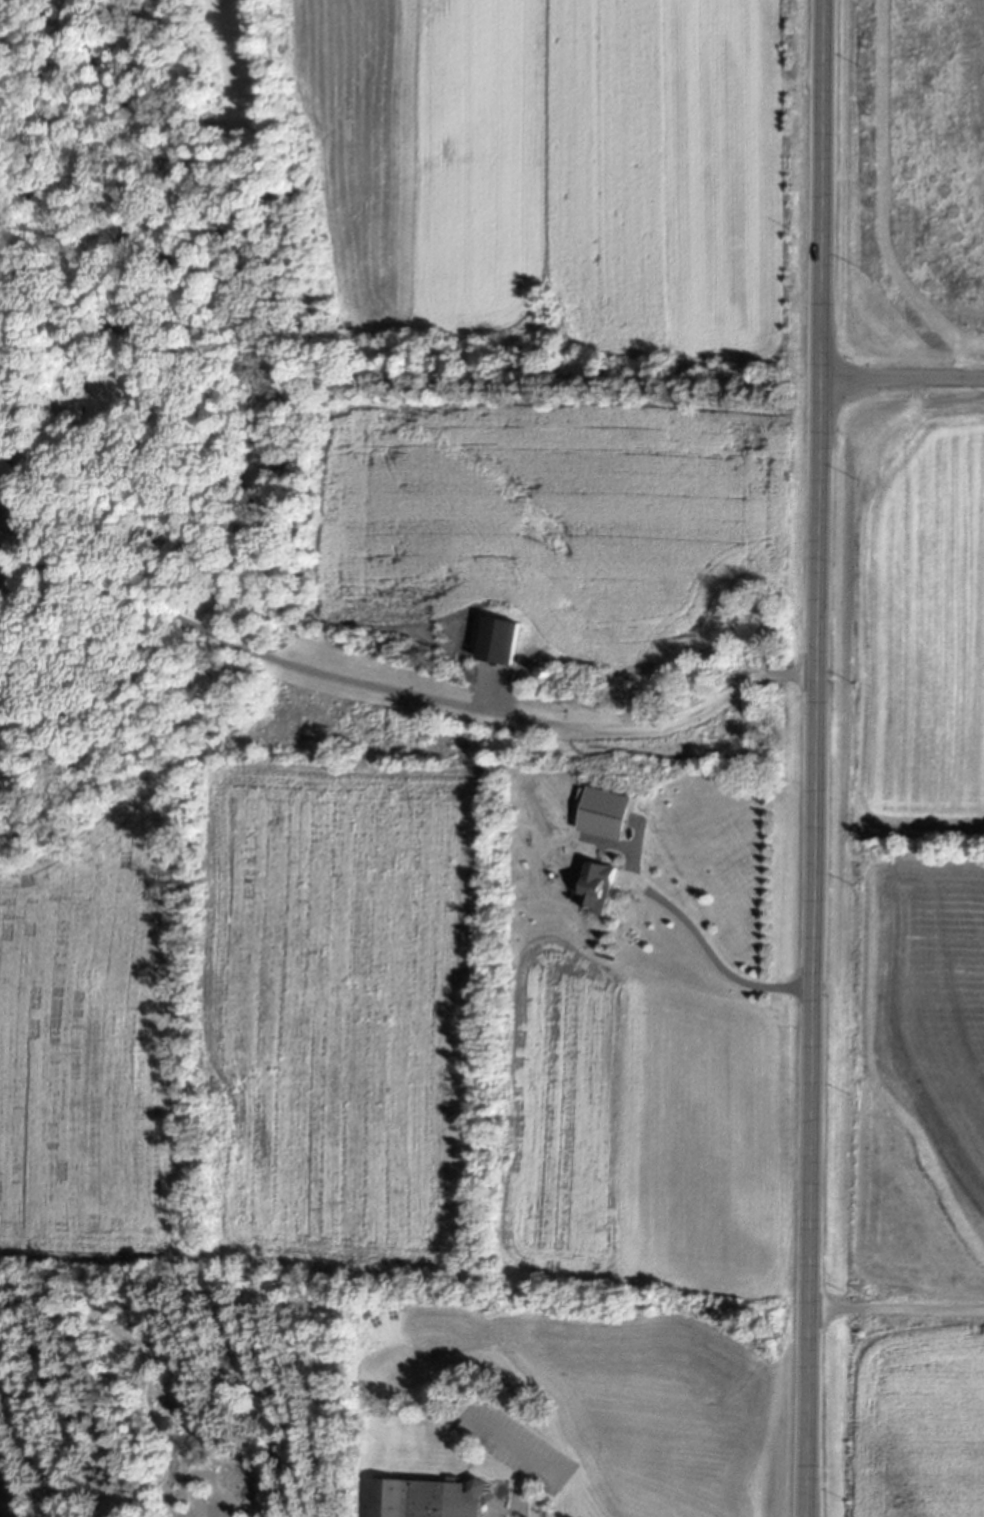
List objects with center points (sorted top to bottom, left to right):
road: (902, 380)
building: (7, 470)
road: (29, 504)
road: (20, 535)
road: (423, 695)
road: (818, 758)
building: (604, 814)
building: (593, 888)
road: (713, 958)
road: (898, 1311)
parking lot: (513, 1445)
road: (522, 1488)
building: (423, 1500)

